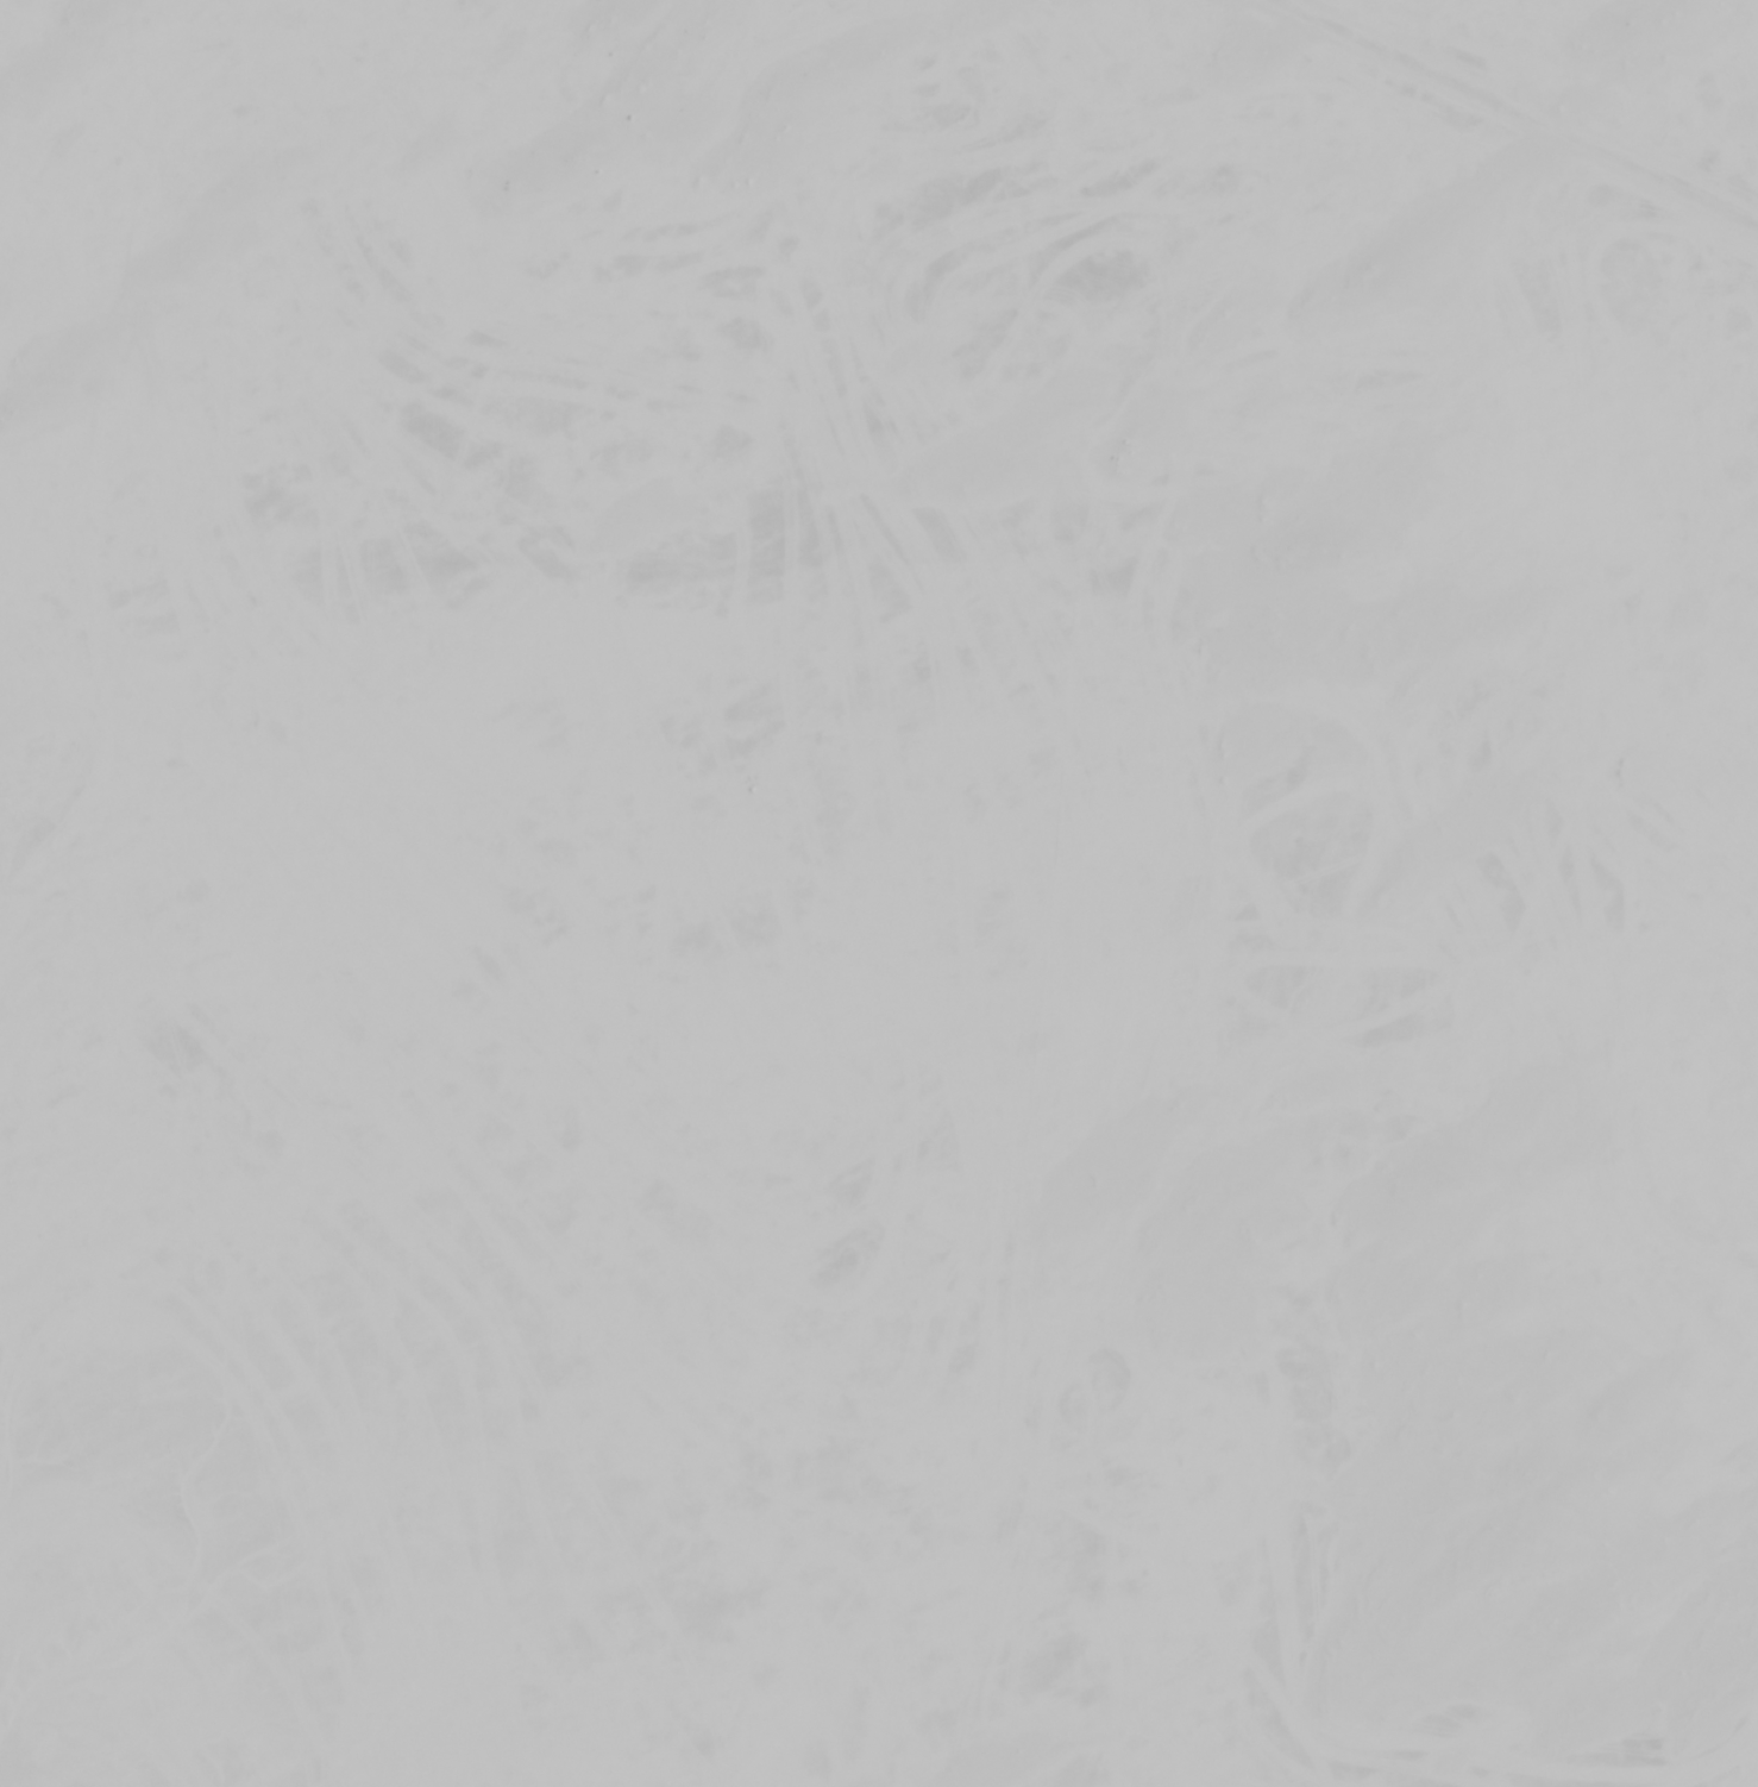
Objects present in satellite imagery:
road: (1193, 893)
building: (1699, 1042)
building: (1731, 1167)

